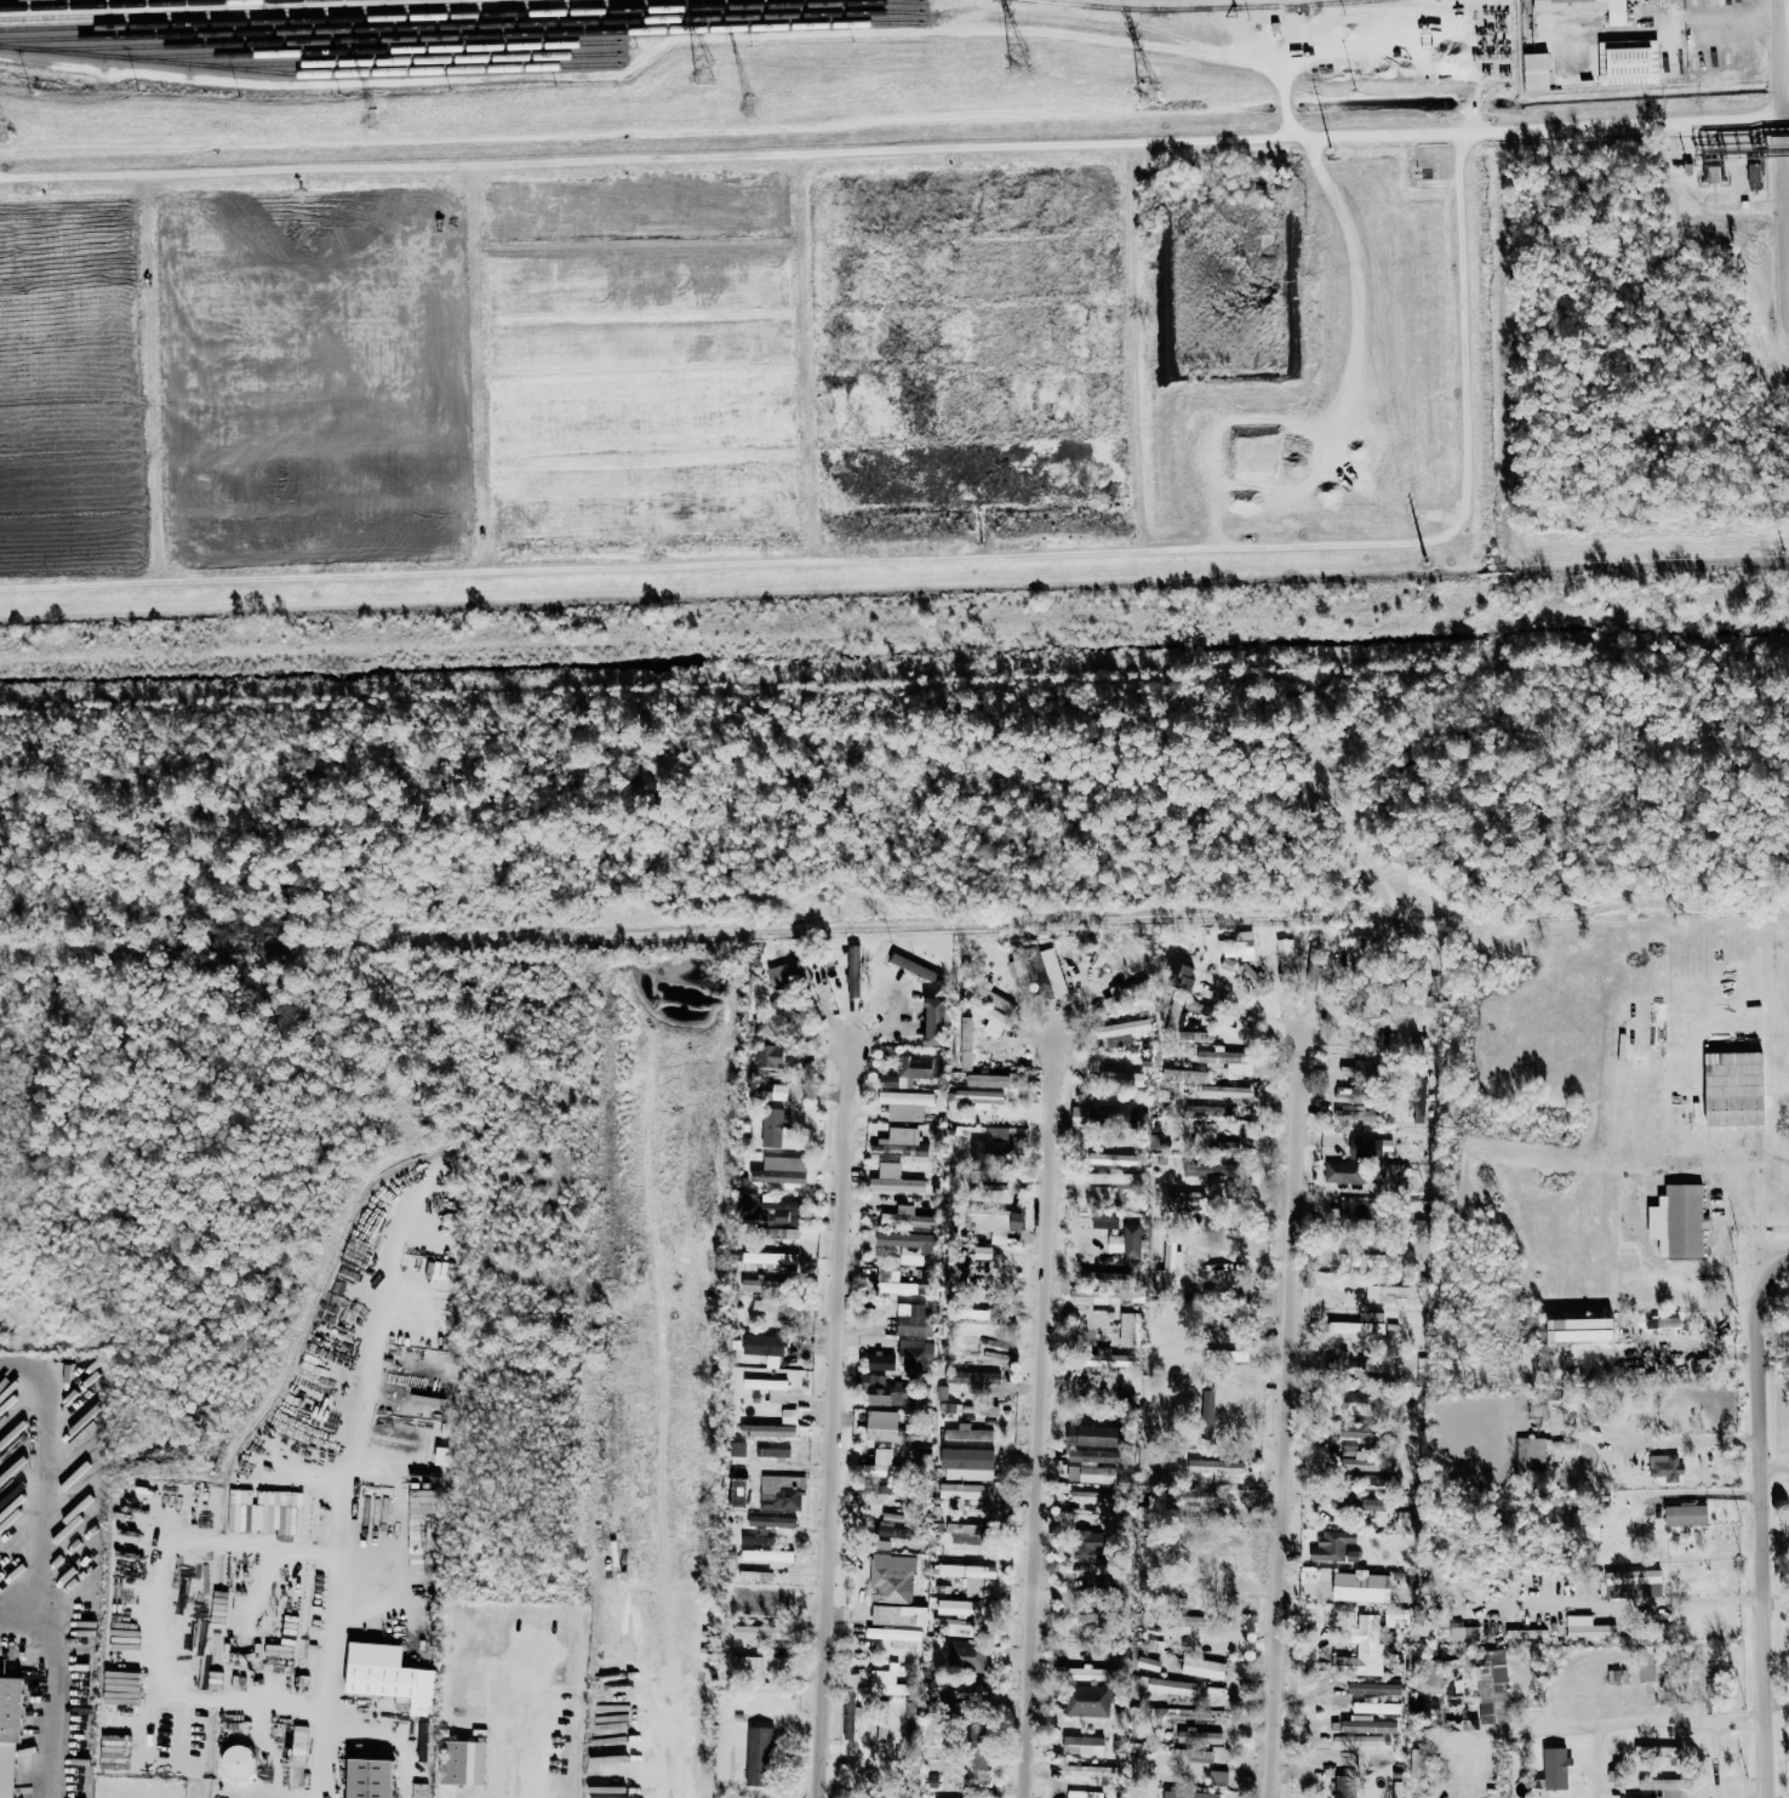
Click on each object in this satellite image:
railway: (132, 4)
building: (1588, 7)
railway: (305, 8)
railway: (1206, 8)
railway: (482, 35)
road: (665, 38)
railway: (309, 72)
building: (1537, 72)
road: (1627, 129)
road: (732, 152)
road: (1710, 196)
road: (936, 554)
road: (894, 930)
building: (1360, 948)
building: (1286, 953)
building: (916, 968)
building: (853, 971)
building: (1053, 971)
building: (789, 974)
building: (1181, 976)
road: (1568, 984)
building: (987, 992)
building: (782, 1008)
building: (988, 1012)
building: (936, 1021)
building: (1124, 1028)
building: (966, 1043)
building: (770, 1056)
building: (1229, 1061)
building: (908, 1071)
building: (1184, 1074)
building: (996, 1080)
building: (1734, 1088)
building: (771, 1091)
building: (1225, 1091)
building: (981, 1097)
building: (905, 1105)
building: (1351, 1106)
building: (1104, 1112)
building: (773, 1128)
building: (1206, 1135)
building: (998, 1140)
building: (901, 1142)
road: (1679, 1149)
building: (1115, 1159)
building: (1353, 1161)
building: (781, 1170)
building: (1109, 1178)
building: (894, 1180)
building: (989, 1181)
building: (1101, 1192)
building: (1182, 1199)
building: (748, 1200)
building: (1354, 1210)
building: (787, 1212)
building: (907, 1218)
building: (1105, 1220)
building: (1679, 1221)
building: (994, 1222)
building: (781, 1233)
building: (1126, 1242)
building: (908, 1245)
building: (983, 1252)
building: (770, 1258)
building: (1171, 1260)
road: (1785, 1265)
building: (893, 1283)
building: (762, 1285)
building: (1393, 1294)
building: (1094, 1296)
building: (767, 1306)
building: (971, 1313)
building: (911, 1319)
building: (1667, 1323)
building: (1361, 1326)
building: (1130, 1329)
building: (1582, 1330)
building: (981, 1343)
building: (764, 1346)
building: (915, 1354)
building: (1230, 1355)
building: (1110, 1359)
building: (881, 1362)
building: (1367, 1366)
building: (972, 1377)
building: (886, 1389)
building: (777, 1395)
building: (1208, 1404)
road: (1292, 1412)
road: (841, 1416)
road: (1045, 1416)
building: (775, 1426)
building: (888, 1427)
building: (1351, 1431)
building: (967, 1433)
building: (1094, 1435)
building: (737, 1449)
building: (773, 1451)
building: (1531, 1455)
building: (967, 1459)
building: (1362, 1460)
building: (884, 1465)
building: (1092, 1465)
building: (1665, 1467)
building: (1219, 1469)
road: (39, 1479)
building: (783, 1492)
building: (970, 1492)
building: (739, 1494)
building: (1091, 1496)
building: (1206, 1499)
building: (422, 1501)
building: (1368, 1505)
building: (1686, 1516)
building: (772, 1520)
building: (1585, 1526)
road: (1767, 1529)
building: (893, 1530)
building: (970, 1532)
building: (754, 1540)
building: (1338, 1547)
building: (770, 1557)
building: (755, 1575)
building: (970, 1576)
building: (1635, 1577)
building: (1204, 1582)
building: (1361, 1587)
building: (894, 1596)
road: (1707, 1602)
building: (959, 1608)
building: (1176, 1620)
building: (945, 1623)
building: (1588, 1627)
building: (762, 1632)
building: (896, 1637)
building: (1362, 1648)
building: (966, 1656)
building: (753, 1663)
building: (1148, 1663)
building: (1648, 1663)
building: (1204, 1668)
building: (1452, 1674)
building: (1618, 1677)
building: (383, 1679)
building: (887, 1682)
building: (956, 1685)
building: (1172, 1686)
building: (1492, 1686)
road: (52, 1689)
building: (1373, 1689)
building: (1429, 1689)
road: (332, 1694)
building: (1088, 1701)
building: (1376, 1707)
building: (954, 1709)
road: (575, 1711)
road: (1688, 1714)
building: (1176, 1718)
building: (1204, 1718)
building: (848, 1719)
building: (910, 1719)
building: (1364, 1725)
road: (404, 1733)
building: (8, 1735)
building: (1208, 1737)
building: (1358, 1741)
building: (424, 1742)
building: (1084, 1746)
building: (1667, 1754)
building: (759, 1757)
building: (1191, 1759)
building: (976, 1760)
building: (465, 1762)
building: (238, 1763)
building: (1557, 1769)
building: (1091, 1770)
building: (371, 1779)
building: (1218, 1779)
building: (1664, 1786)
building: (1345, 1787)
building: (1085, 1794)
building: (1190, 1794)
road: (257, 1797)

